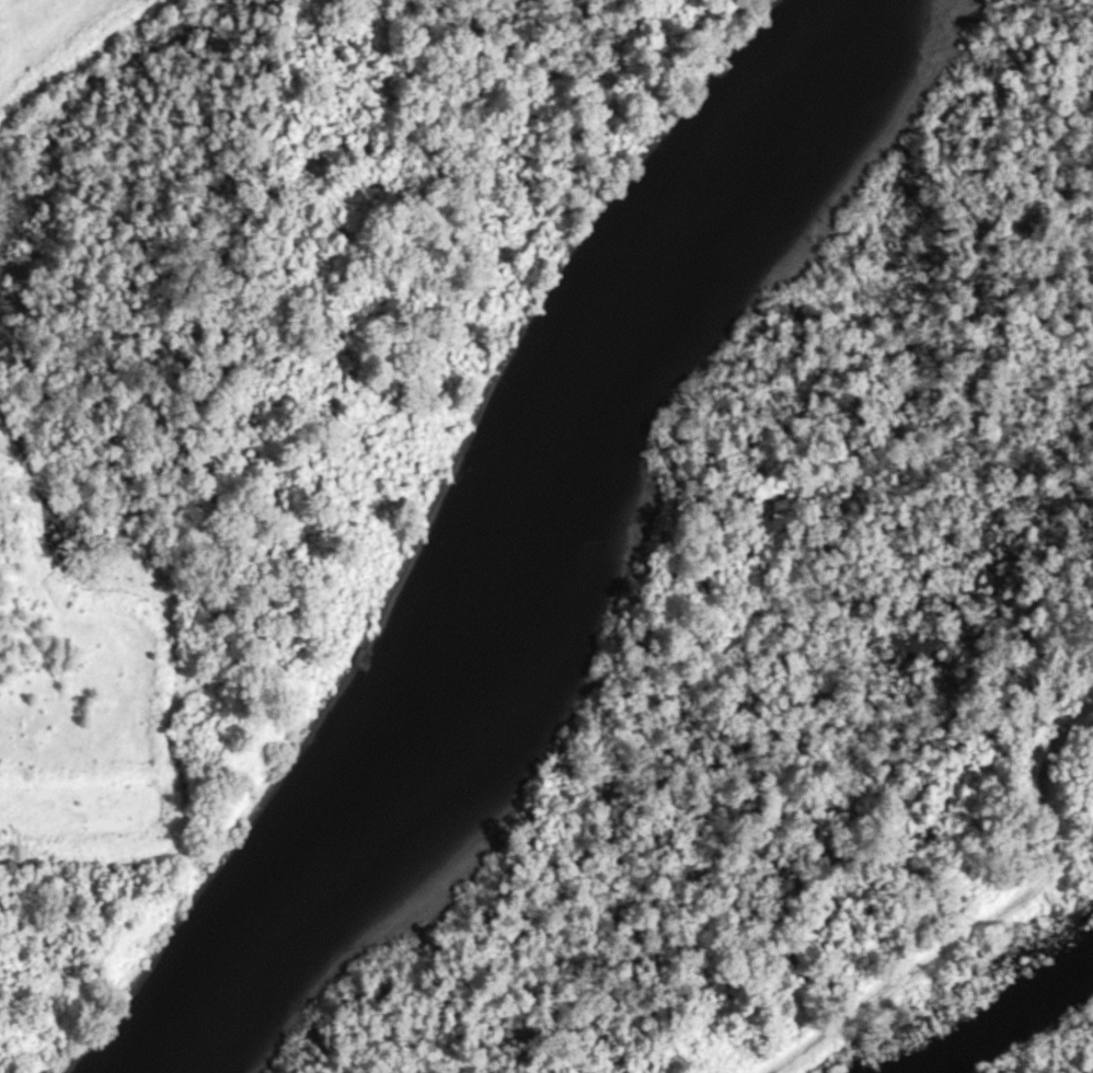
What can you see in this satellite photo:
road: (855, 988)

